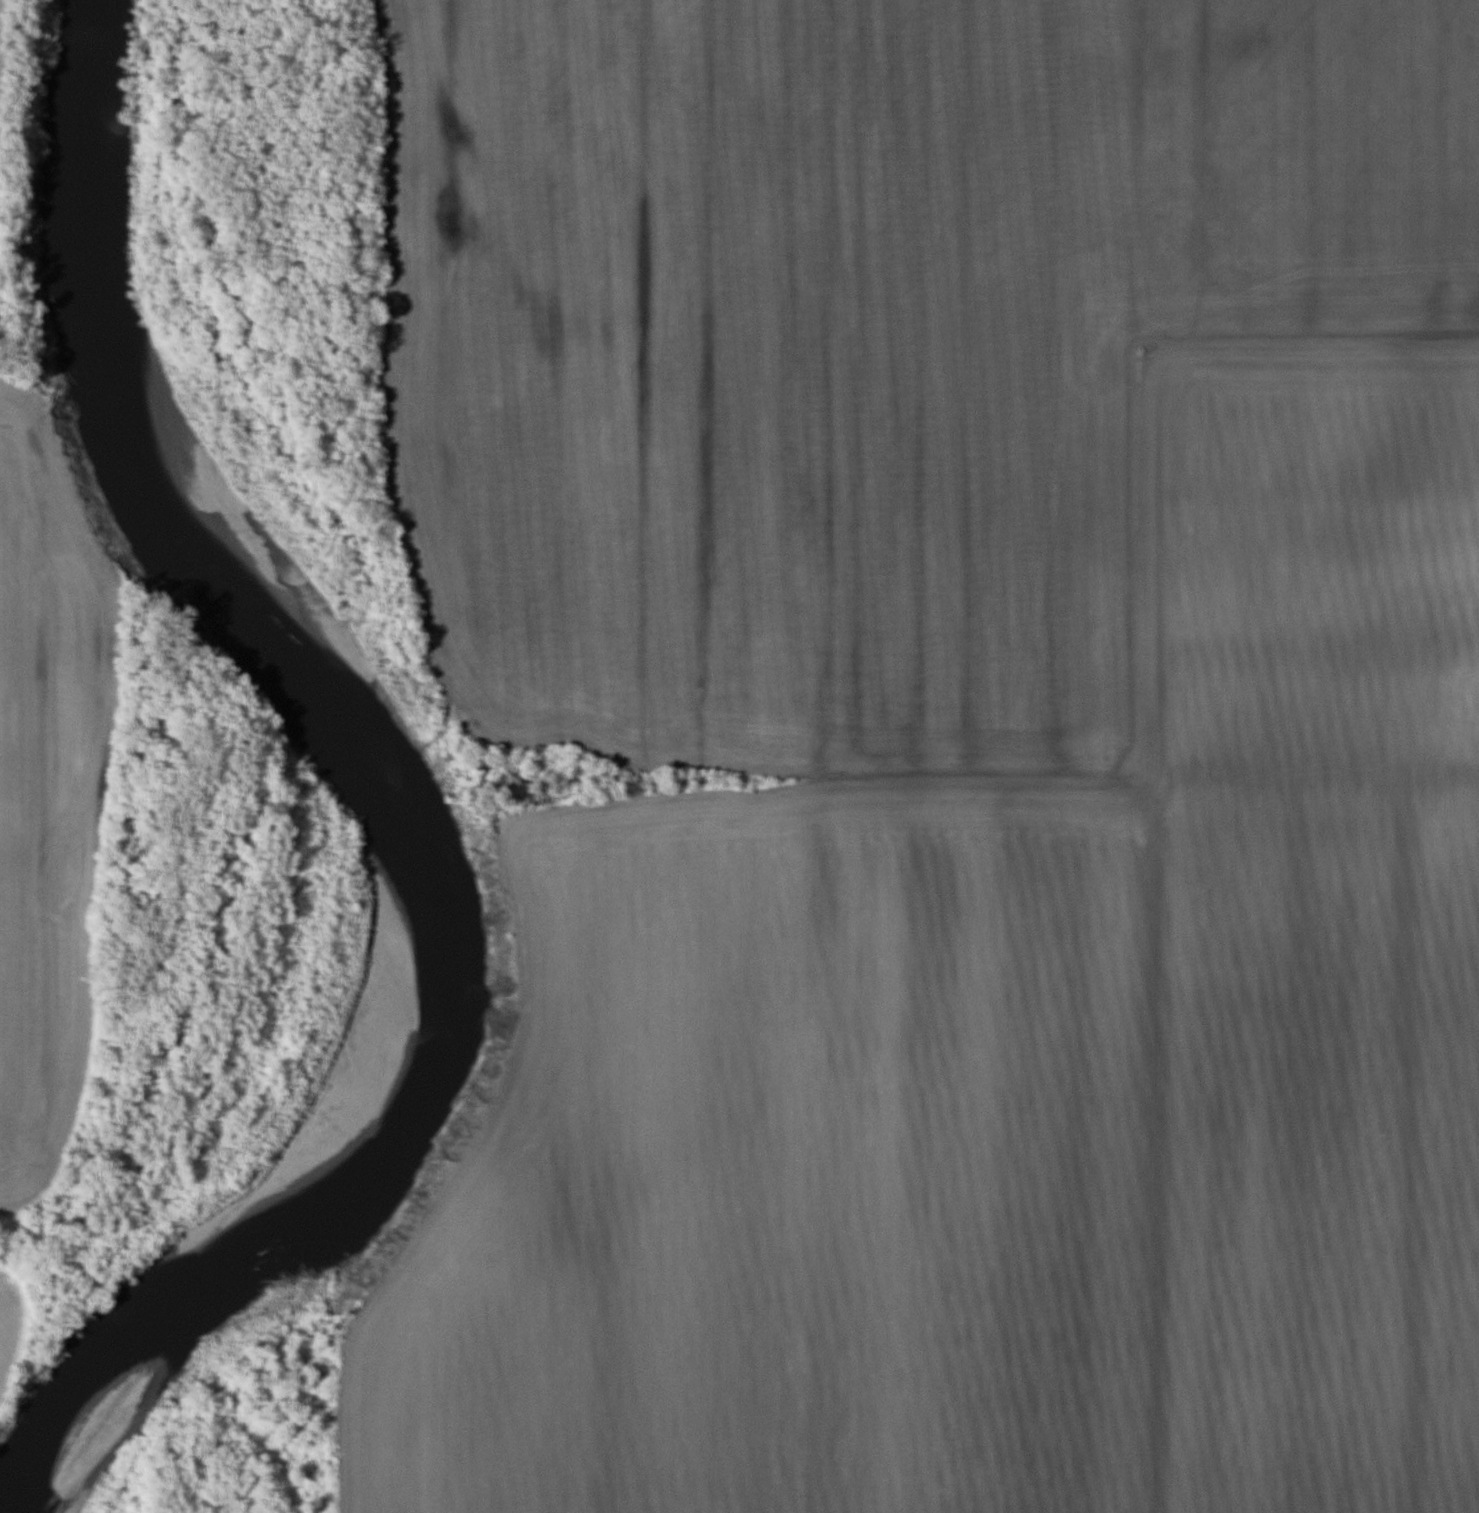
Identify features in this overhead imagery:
river: (415, 775)

